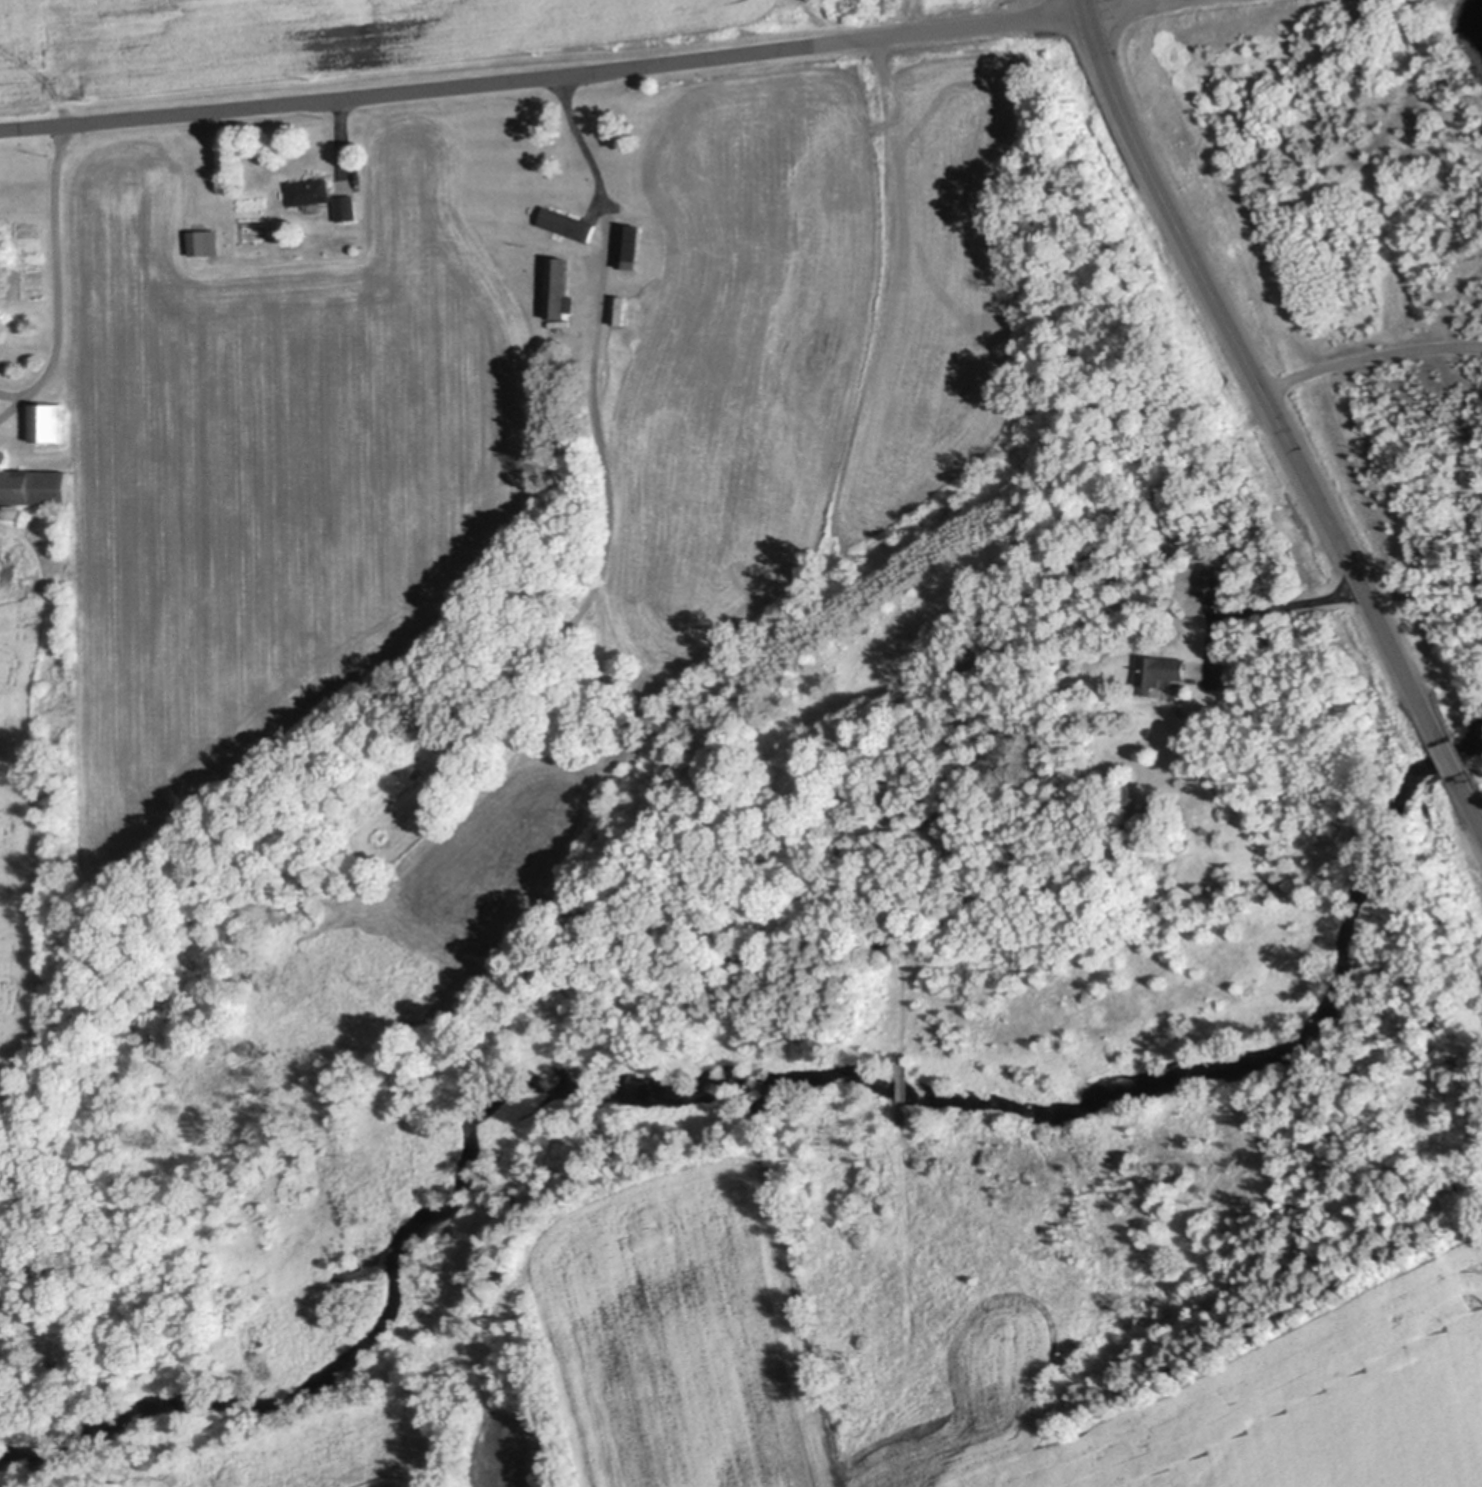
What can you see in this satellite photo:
road: (1110, 3)
crop: (327, 44)
road: (543, 78)
road: (584, 138)
building: (312, 189)
building: (348, 206)
building: (570, 222)
building: (214, 245)
building: (630, 246)
road: (59, 277)
building: (562, 288)
building: (622, 309)
road: (1369, 353)
road: (1246, 357)
building: (50, 422)
building: (3, 455)
building: (35, 485)
building: (1, 509)
building: (16, 512)
building: (1212, 584)
building: (571, 596)
road: (1268, 611)
building: (1160, 671)
road: (1449, 760)
road: (1477, 818)
river: (771, 1079)

